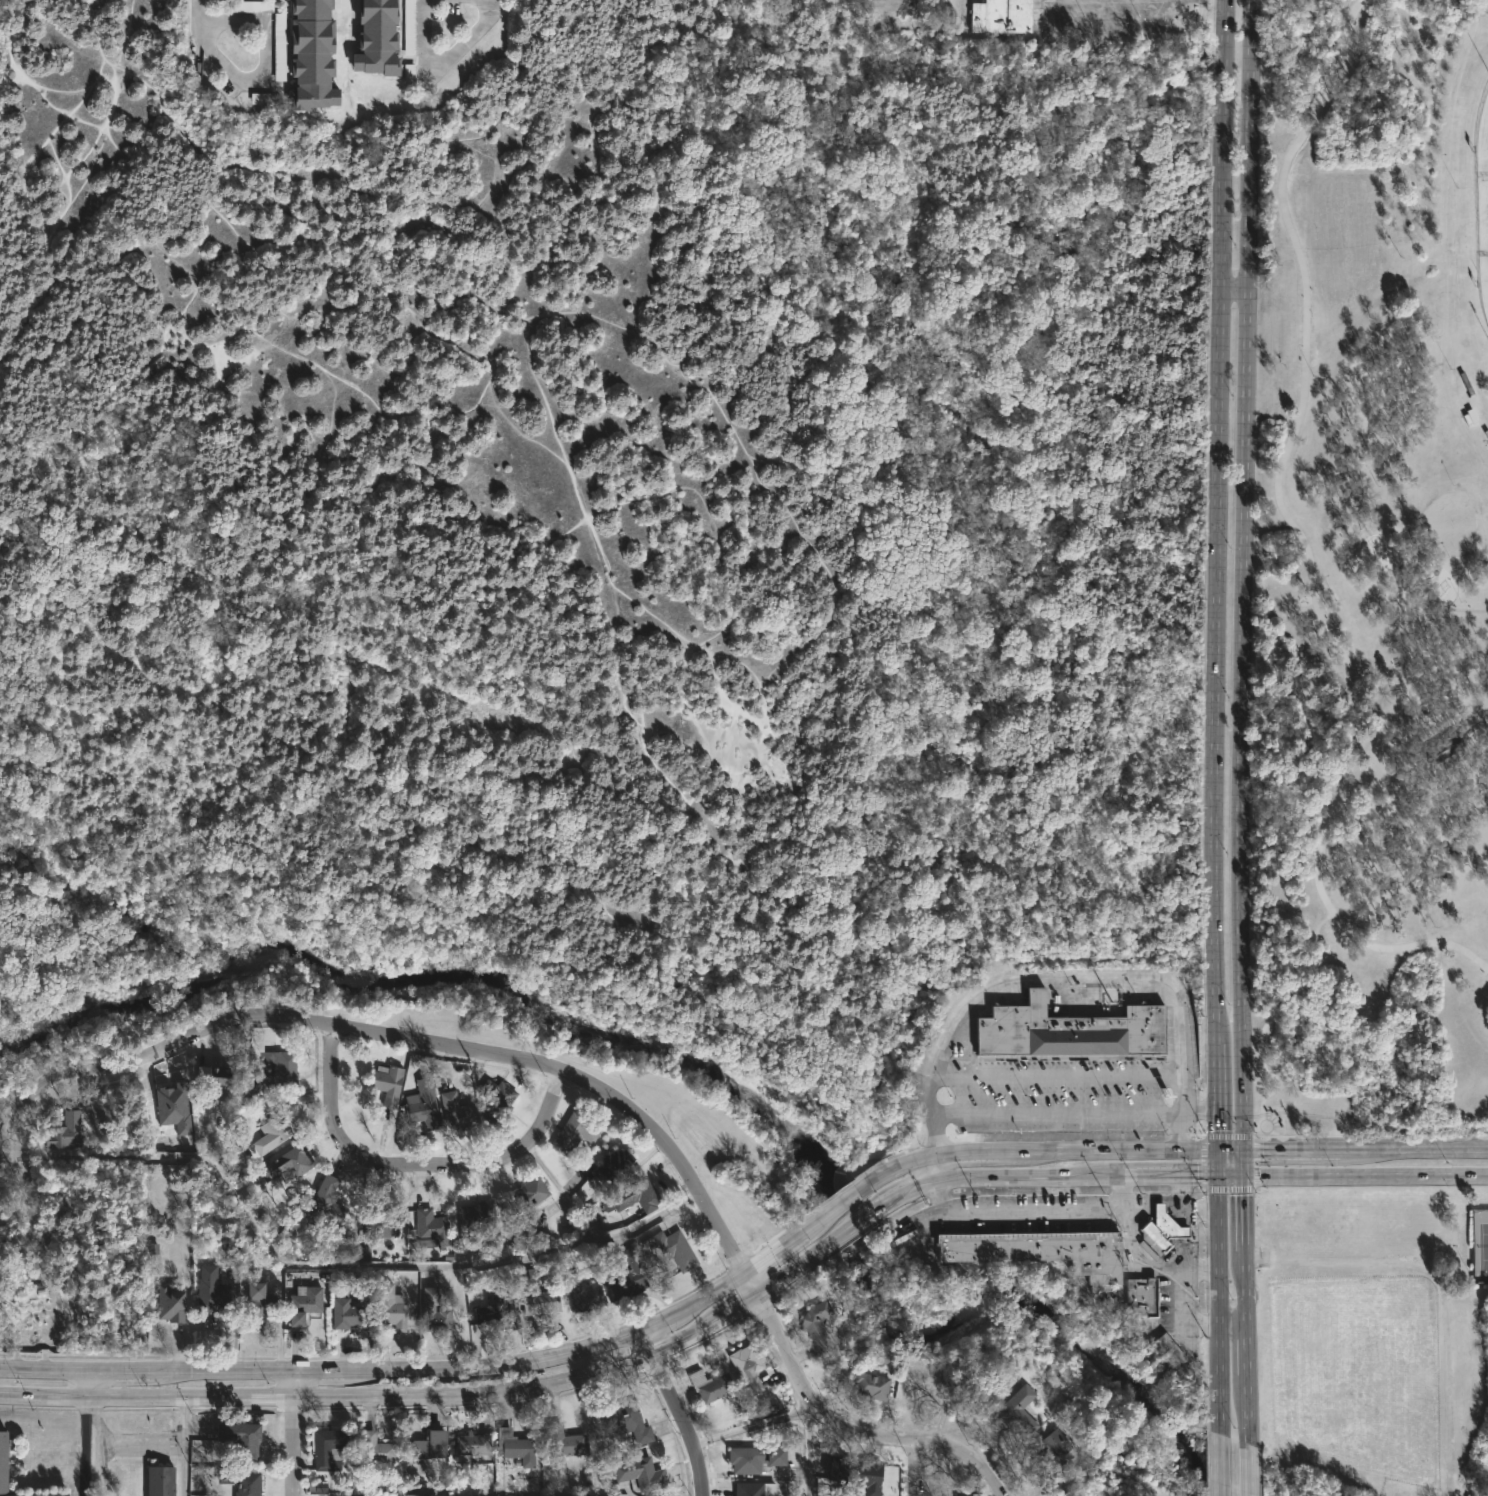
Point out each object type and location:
road: (199, 10)
building: (1002, 16)
building: (377, 38)
building: (311, 54)
road: (447, 62)
road: (264, 67)
road: (72, 116)
park: (1482, 136)
park: (1484, 277)
road: (1232, 289)
road: (1304, 537)
park: (600, 547)
park: (1373, 570)
road: (1216, 575)
road: (1242, 575)
road: (1432, 604)
road: (1474, 725)
park: (1371, 747)
building: (1442, 748)
road: (1129, 977)
road: (1270, 1015)
building: (1067, 1033)
road: (941, 1052)
building: (278, 1070)
road: (577, 1075)
building: (220, 1077)
building: (388, 1084)
road: (1186, 1089)
building: (497, 1101)
building: (424, 1105)
building: (173, 1107)
road: (1199, 1108)
building: (458, 1112)
road: (1258, 1130)
building: (65, 1132)
building: (575, 1132)
road: (1227, 1134)
building: (269, 1136)
road: (1373, 1138)
road: (1415, 1148)
road: (1291, 1150)
road: (971, 1151)
traffic signals: (1213, 1151)
road: (1226, 1151)
traffic signals: (1240, 1151)
road: (1110, 1152)
road: (908, 1161)
road: (1255, 1161)
building: (608, 1162)
road: (1201, 1162)
building: (289, 1163)
road: (417, 1165)
road: (938, 1167)
road: (1186, 1176)
traffic signals: (1214, 1176)
traffic signals: (1240, 1176)
road: (1228, 1190)
building: (637, 1195)
road: (842, 1200)
road: (1168, 1200)
building: (531, 1201)
building: (327, 1202)
road: (1018, 1213)
building: (475, 1219)
building: (384, 1223)
building: (431, 1224)
road: (853, 1226)
building: (1160, 1227)
building: (423, 1242)
park: (1480, 1245)
building: (671, 1248)
building: (1040, 1250)
building: (363, 1253)
road: (1149, 1265)
road: (1188, 1271)
building: (629, 1275)
building: (210, 1289)
building: (584, 1292)
road: (1216, 1292)
building: (536, 1294)
building: (1139, 1296)
road: (1245, 1297)
building: (260, 1301)
building: (29, 1302)
building: (171, 1303)
building: (303, 1304)
building: (393, 1307)
building: (496, 1309)
building: (436, 1311)
building: (347, 1313)
road: (1231, 1321)
building: (819, 1325)
park: (1380, 1339)
building: (1170, 1348)
building: (881, 1357)
building: (748, 1367)
road: (420, 1374)
road: (87, 1382)
building: (873, 1385)
building: (711, 1387)
building: (974, 1387)
road: (428, 1399)
road: (679, 1411)
building: (1021, 1412)
building: (626, 1422)
road: (755, 1423)
road: (295, 1435)
building: (242, 1438)
building: (563, 1441)
road: (141, 1445)
building: (434, 1445)
building: (472, 1445)
road: (84, 1446)
road: (100, 1446)
road: (183, 1446)
building: (517, 1446)
building: (329, 1447)
building: (1052, 1448)
building: (379, 1449)
road: (808, 1451)
building: (755, 1458)
building: (3, 1461)
road: (912, 1465)
road: (1219, 1465)
road: (1248, 1470)
building: (641, 1473)
building: (859, 1473)
building: (159, 1480)
building: (241, 1481)
building: (318, 1487)
building: (755, 1489)
building: (972, 1494)
building: (34, 1495)

